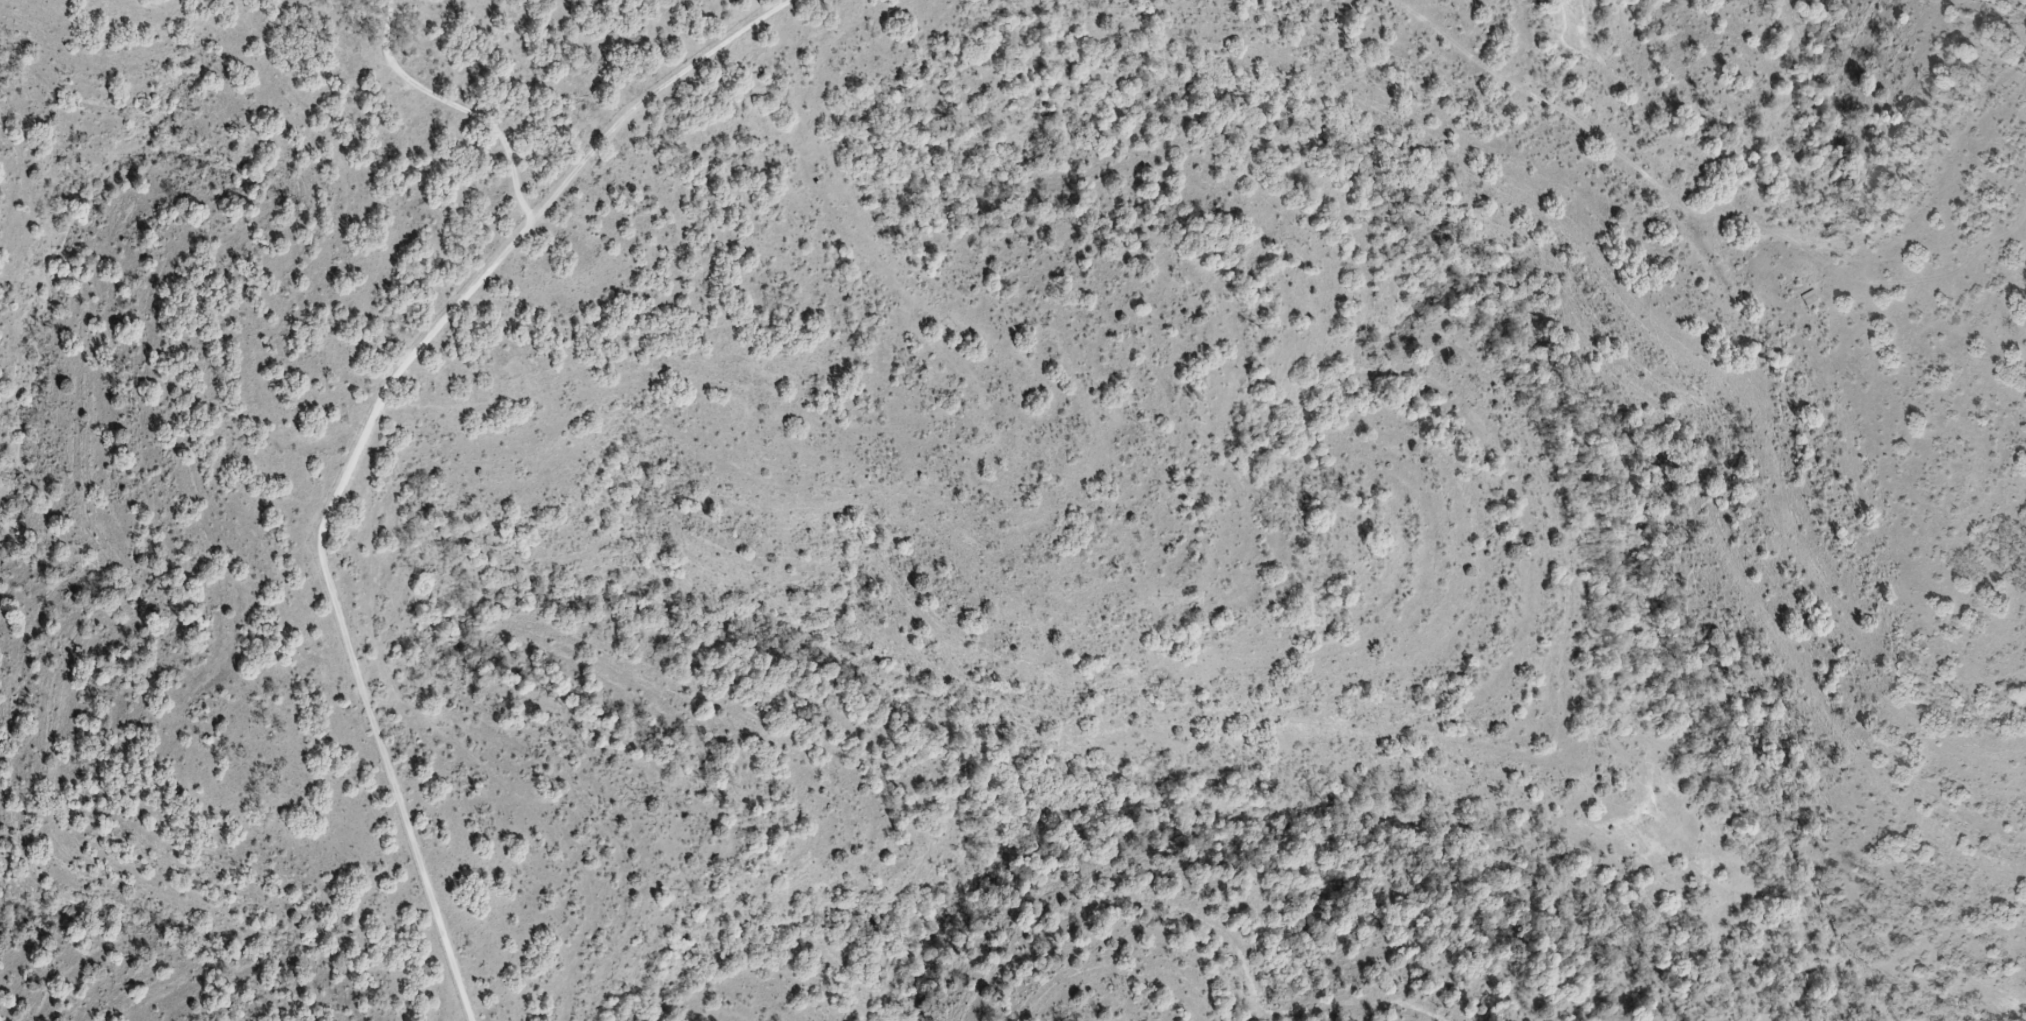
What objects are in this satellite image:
building: (1808, 299)

